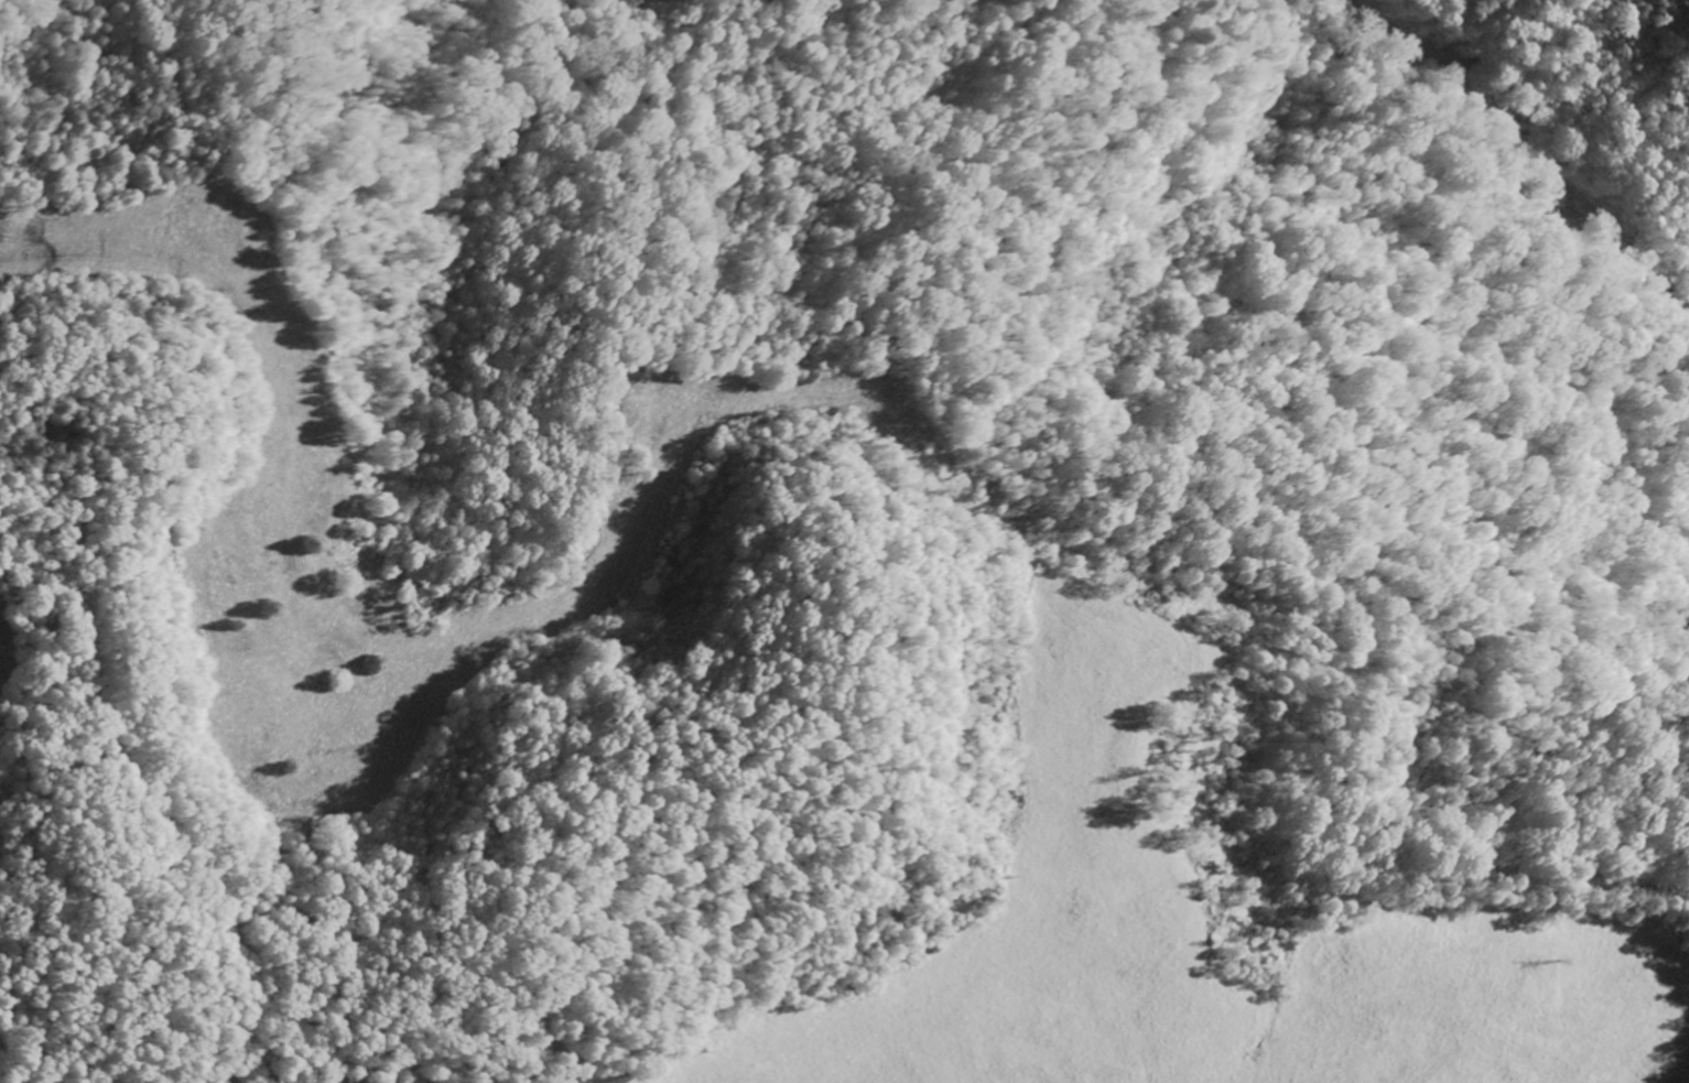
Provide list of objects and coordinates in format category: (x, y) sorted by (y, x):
road: (1681, 4)

